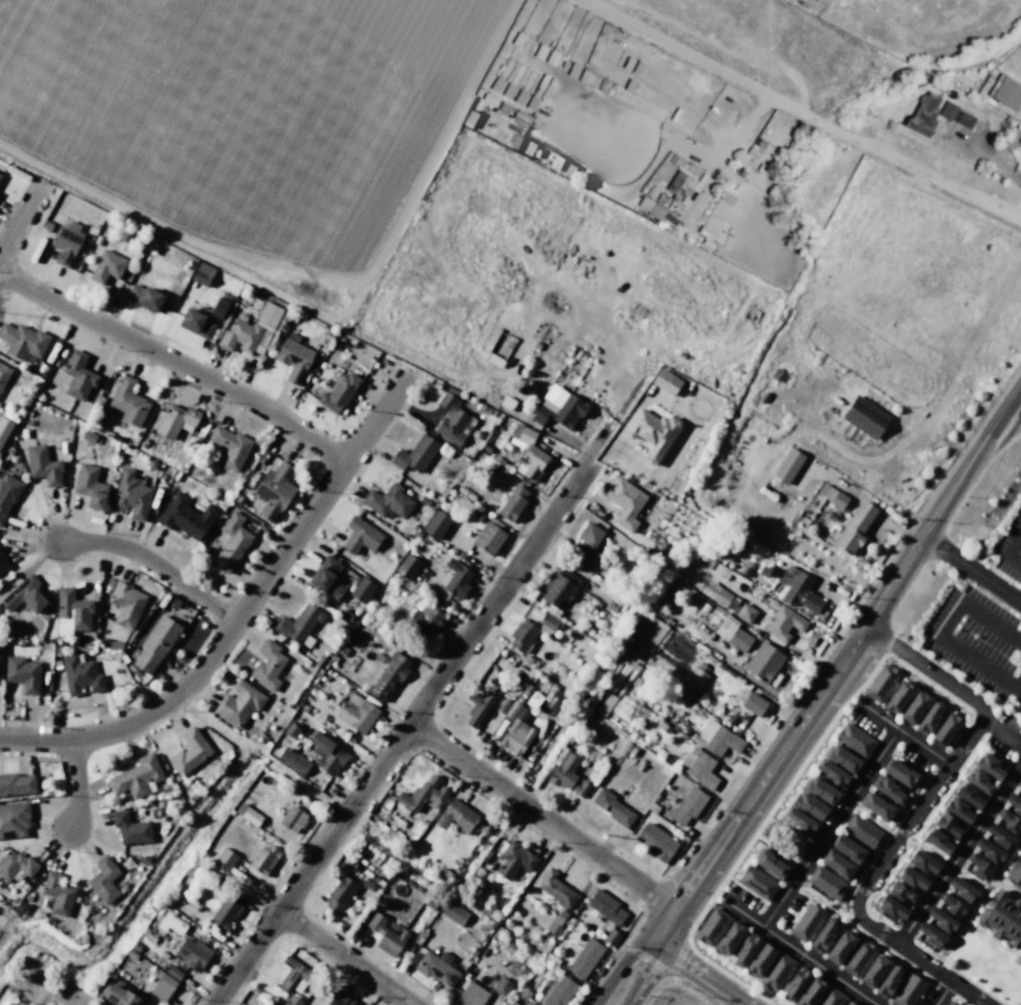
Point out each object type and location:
building: (520, 40)
building: (542, 51)
building: (554, 56)
building: (630, 63)
building: (639, 68)
building: (575, 70)
building: (585, 76)
building: (618, 80)
building: (498, 85)
building: (631, 86)
building: (510, 91)
building: (1007, 92)
building: (521, 97)
building: (490, 100)
building: (533, 103)
building: (504, 110)
building: (949, 111)
building: (925, 115)
building: (522, 118)
crop: (254, 121)
building: (515, 141)
building: (1020, 142)
building: (762, 144)
building: (523, 146)
building: (754, 153)
building: (750, 161)
building: (555, 163)
building: (766, 170)
building: (569, 171)
building: (0, 174)
building: (0, 175)
building: (747, 175)
building: (681, 185)
building: (728, 198)
building: (663, 199)
building: (653, 208)
road: (19, 219)
building: (707, 232)
building: (66, 241)
building: (107, 267)
building: (202, 274)
building: (145, 298)
building: (219, 308)
building: (195, 323)
building: (250, 331)
building: (23, 341)
building: (293, 358)
road: (175, 361)
building: (4, 373)
building: (77, 375)
building: (666, 382)
building: (339, 394)
building: (128, 401)
building: (560, 411)
building: (865, 418)
building: (453, 419)
building: (176, 421)
building: (5, 429)
building: (24, 433)
building: (653, 434)
building: (88, 437)
building: (143, 443)
building: (230, 447)
building: (527, 453)
building: (415, 454)
building: (43, 464)
building: (151, 464)
building: (787, 466)
building: (177, 476)
building: (163, 478)
building: (90, 486)
building: (273, 490)
building: (7, 493)
building: (131, 495)
building: (832, 496)
building: (388, 501)
building: (625, 502)
building: (512, 503)
building: (185, 516)
building: (437, 525)
building: (854, 528)
building: (361, 536)
building: (490, 537)
building: (590, 538)
building: (231, 542)
road: (1010, 552)
road: (154, 562)
building: (3, 563)
building: (710, 565)
building: (407, 566)
building: (750, 566)
road: (972, 569)
building: (720, 571)
building: (745, 571)
building: (764, 572)
building: (327, 578)
building: (456, 579)
building: (559, 586)
building: (362, 589)
building: (798, 589)
building: (716, 593)
building: (26, 595)
building: (125, 603)
building: (612, 606)
road: (240, 610)
building: (71, 612)
building: (746, 613)
building: (347, 614)
building: (424, 622)
building: (783, 623)
building: (550, 624)
building: (299, 625)
building: (732, 630)
road: (941, 631)
building: (522, 635)
building: (352, 636)
building: (156, 643)
building: (115, 645)
building: (763, 662)
building: (268, 665)
road: (840, 668)
road: (930, 670)
building: (22, 673)
building: (389, 675)
building: (80, 676)
building: (696, 678)
building: (881, 683)
building: (899, 696)
building: (239, 703)
building: (606, 704)
building: (755, 704)
building: (477, 706)
building: (502, 706)
building: (915, 706)
building: (512, 709)
building: (356, 713)
building: (644, 715)
building: (930, 717)
road: (978, 725)
building: (663, 726)
building: (947, 727)
building: (291, 731)
road: (902, 732)
road: (401, 736)
building: (516, 737)
building: (718, 738)
building: (855, 740)
road: (887, 747)
road: (989, 750)
building: (190, 751)
building: (328, 755)
building: (843, 758)
building: (293, 760)
road: (940, 760)
building: (988, 766)
building: (699, 767)
road: (1015, 767)
road: (795, 774)
building: (901, 774)
building: (833, 775)
building: (569, 776)
building: (138, 777)
building: (978, 781)
road: (78, 782)
building: (16, 784)
building: (1020, 784)
building: (821, 790)
building: (889, 790)
building: (421, 796)
building: (969, 796)
building: (1014, 804)
building: (687, 805)
building: (811, 806)
building: (612, 807)
building: (878, 807)
building: (958, 810)
building: (248, 814)
building: (458, 816)
road: (870, 816)
road: (542, 817)
building: (14, 819)
building: (293, 819)
park: (871, 819)
building: (800, 821)
building: (1010, 822)
building: (948, 824)
road: (829, 827)
building: (130, 828)
building: (861, 831)
building: (1000, 836)
park: (783, 838)
road: (906, 839)
building: (656, 841)
building: (937, 841)
road: (775, 848)
building: (850, 849)
road: (923, 851)
park: (930, 852)
building: (990, 852)
road: (958, 854)
building: (225, 859)
building: (264, 859)
building: (515, 859)
road: (883, 859)
building: (923, 862)
building: (771, 863)
building: (837, 865)
building: (15, 866)
building: (980, 866)
road: (1002, 868)
road: (948, 869)
building: (1014, 871)
road: (798, 874)
building: (912, 878)
building: (104, 879)
park: (970, 879)
building: (826, 882)
building: (757, 883)
building: (368, 884)
road: (854, 885)
building: (556, 889)
road: (1009, 889)
building: (963, 891)
road: (982, 891)
building: (57, 893)
building: (902, 893)
building: (341, 894)
road: (824, 902)
building: (45, 903)
park: (823, 903)
building: (432, 904)
building: (954, 906)
building: (605, 907)
building: (892, 908)
building: (226, 911)
road: (741, 912)
building: (455, 914)
building: (1002, 917)
building: (942, 920)
building: (806, 923)
building: (556, 924)
park: (7, 925)
building: (711, 926)
road: (974, 928)
road: (904, 935)
building: (932, 935)
building: (386, 936)
building: (611, 936)
building: (824, 936)
building: (729, 938)
building: (840, 946)
building: (745, 949)
road: (907, 950)
building: (192, 954)
road: (347, 957)
building: (857, 957)
building: (585, 958)
building: (760, 960)
road: (818, 966)
park: (986, 966)
road: (618, 967)
building: (438, 968)
building: (874, 970)
building: (174, 972)
road: (702, 972)
building: (777, 972)
road: (959, 973)
road: (646, 975)
building: (293, 978)
building: (890, 981)
building: (795, 983)
building: (162, 985)
building: (501, 985)
road: (945, 989)
building: (908, 990)
building: (559, 991)
building: (811, 992)
road: (941, 993)
building: (524, 994)
building: (121, 995)
building: (473, 995)
building: (831, 997)
road: (979, 997)
road: (724, 998)
building: (340, 999)
road: (961, 1000)
building: (851, 1002)
building: (951, 1003)

